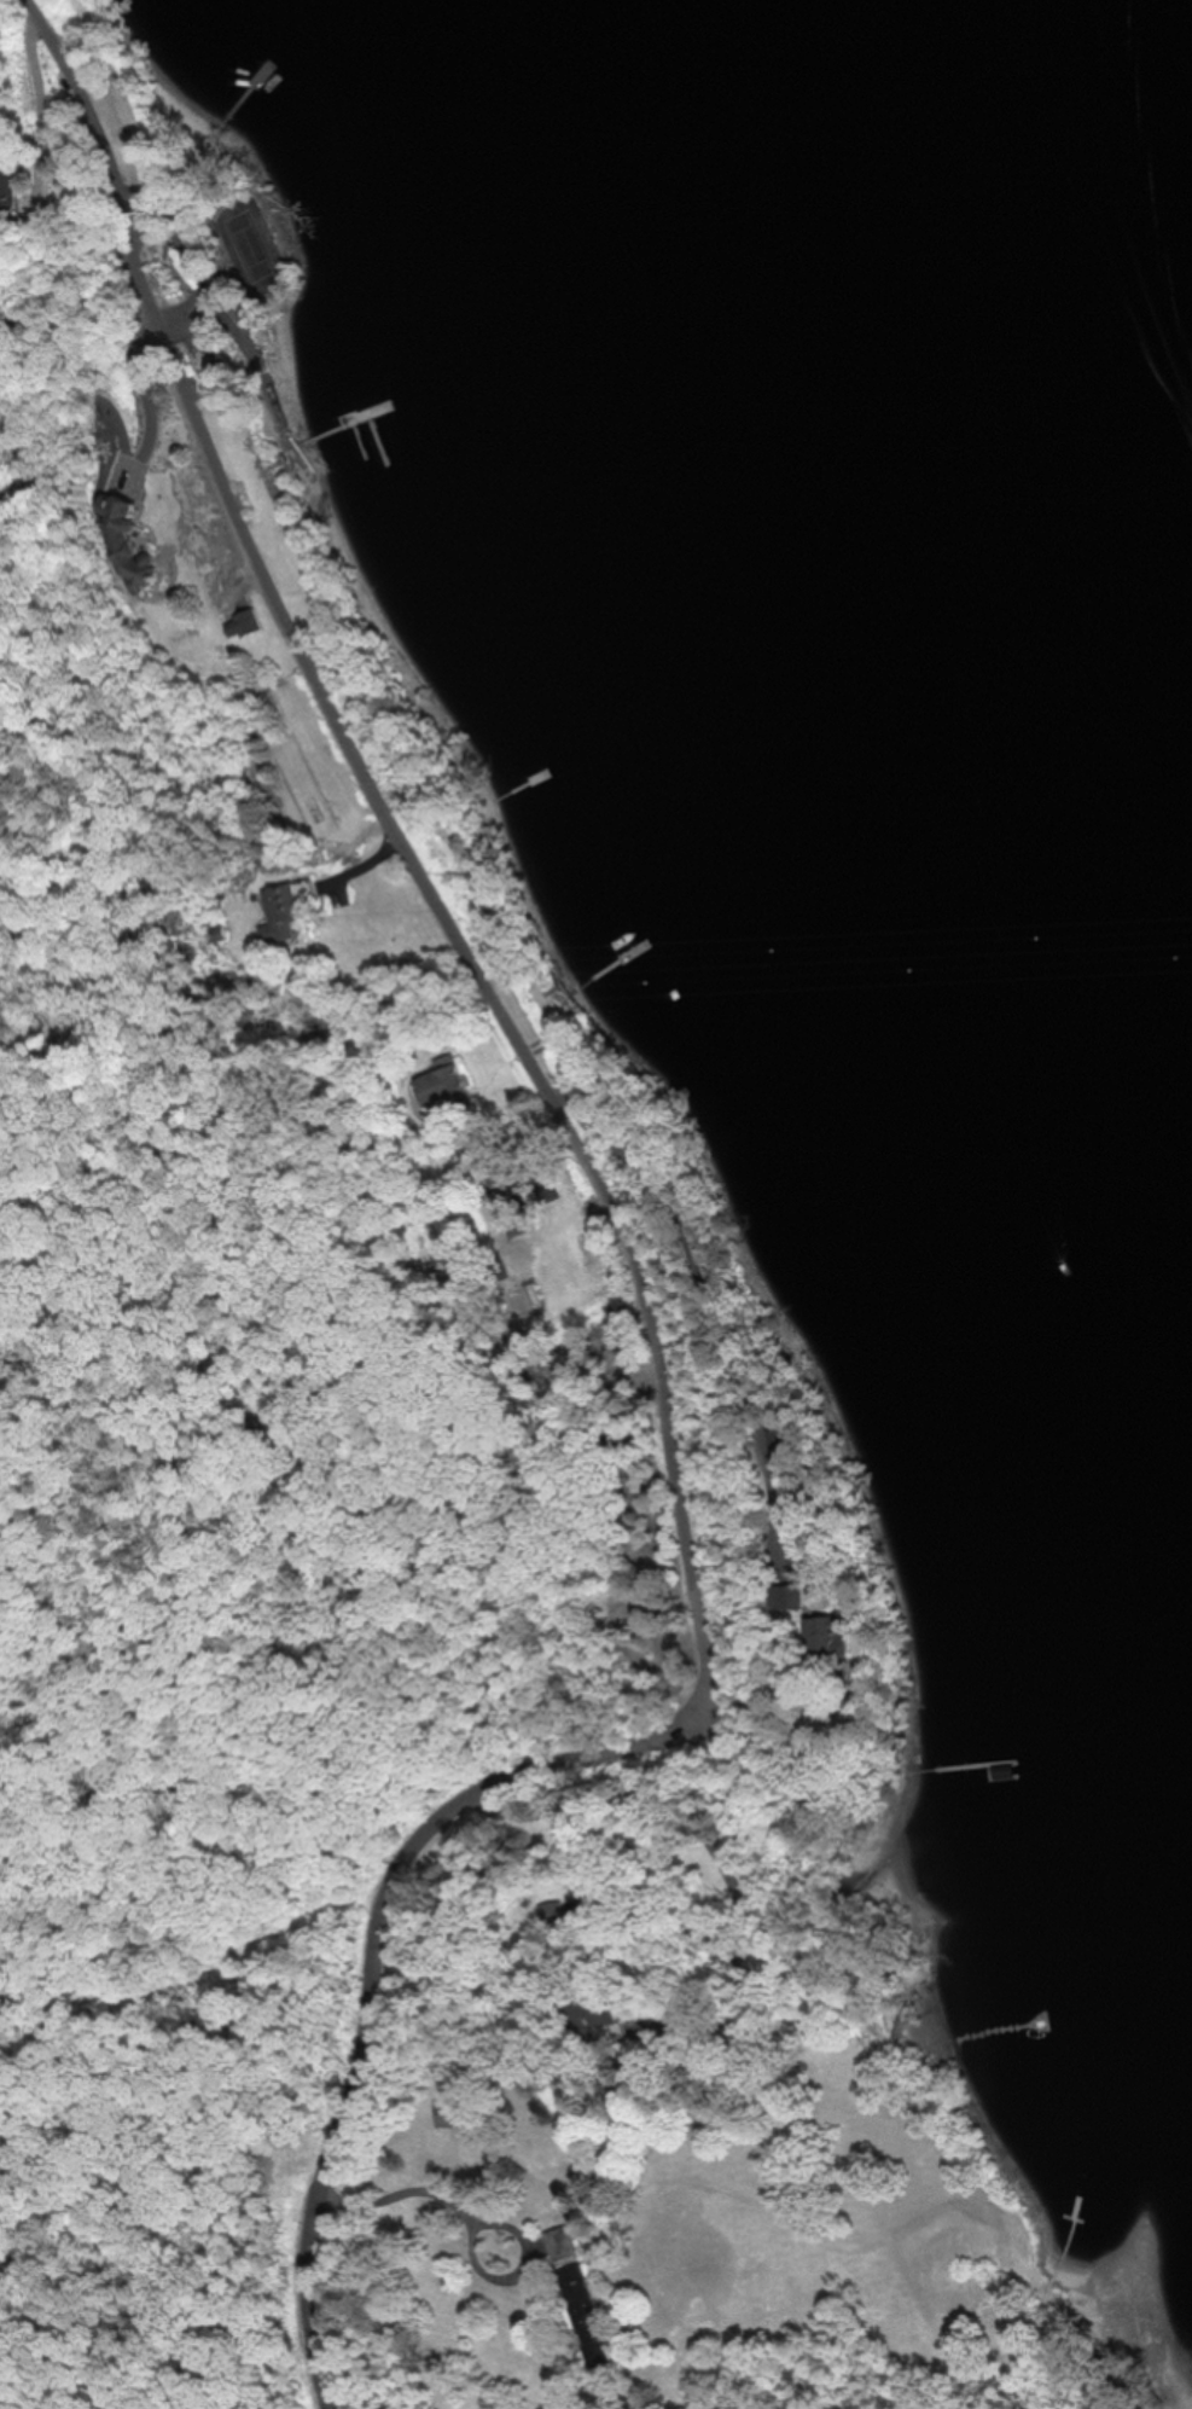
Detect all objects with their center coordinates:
road: (42, 115)
river: (1124, 144)
building: (11, 185)
road: (145, 381)
building: (123, 546)
road: (385, 808)
building: (284, 912)
building: (448, 1086)
building: (506, 1206)
road: (709, 1290)
building: (789, 1596)
building: (831, 1650)
road: (722, 1859)
building: (558, 1921)
road: (395, 1929)
building: (460, 2112)
road: (425, 2223)
building: (578, 2288)

